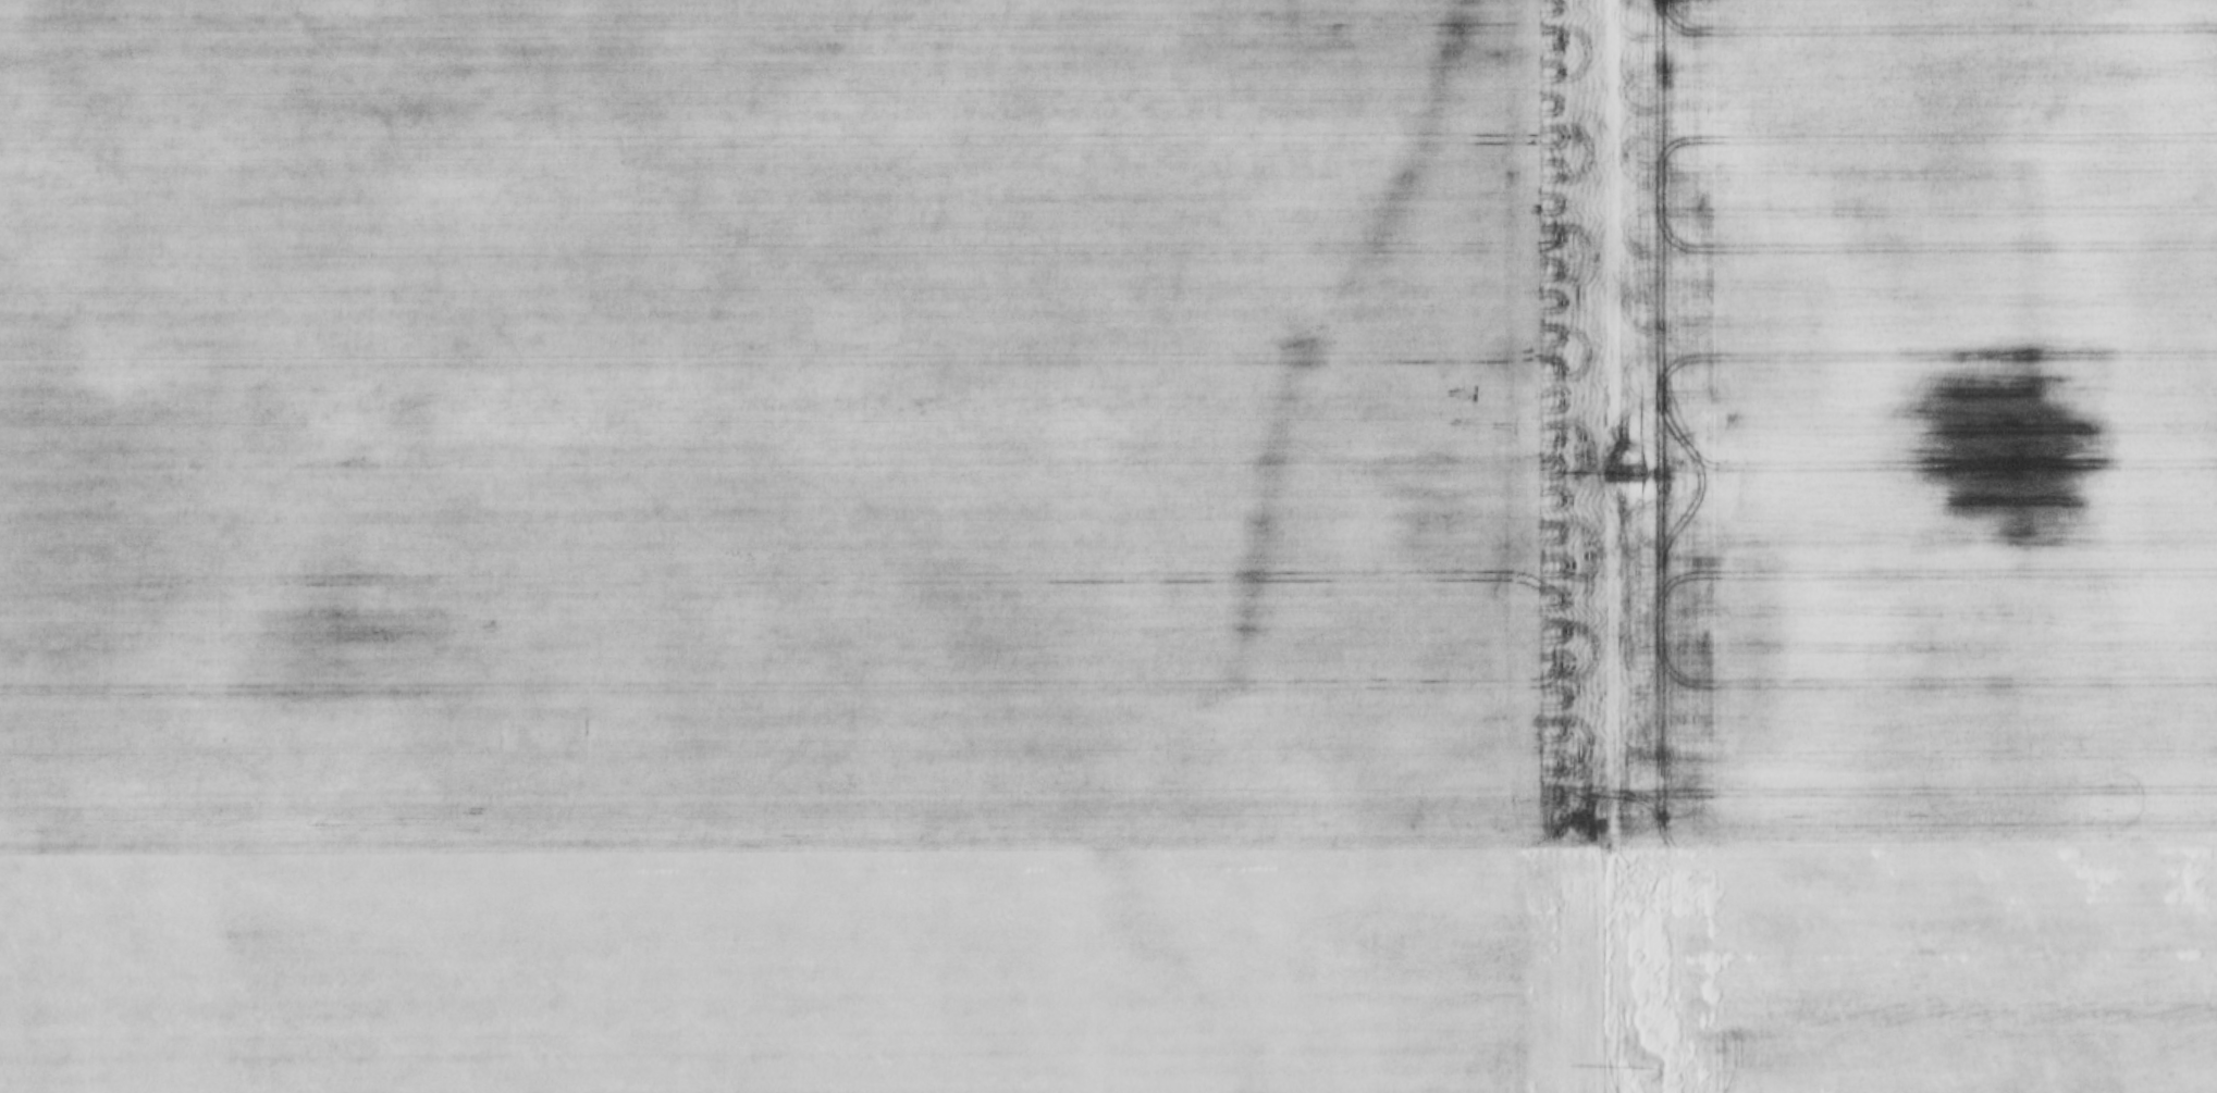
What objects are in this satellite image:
power tower: (1625, 474)
power tower: (1641, 1068)

